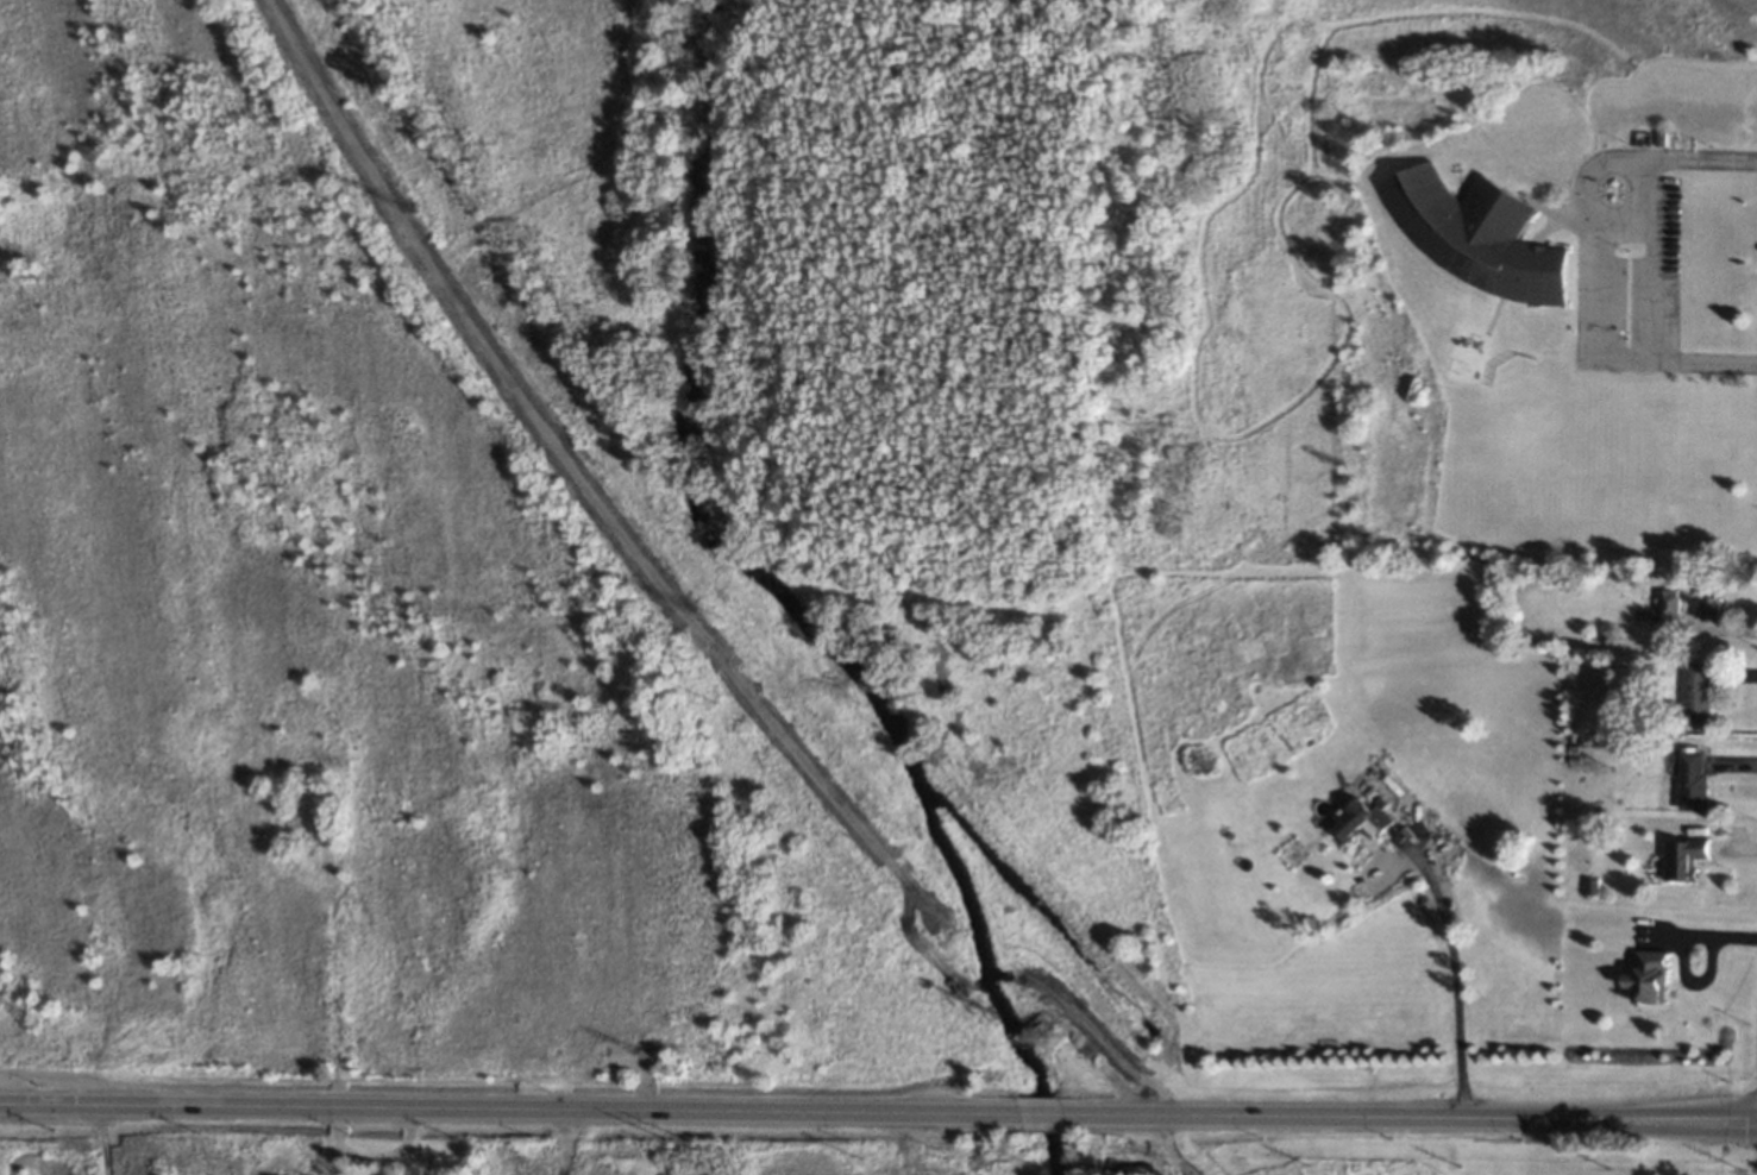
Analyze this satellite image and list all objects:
building: (1659, 139)
building: (1461, 166)
road: (1626, 220)
building: (1476, 234)
road: (1601, 252)
road: (1649, 259)
park: (859, 383)
building: (1668, 602)
river: (785, 605)
building: (1709, 609)
park: (297, 630)
building: (1696, 693)
building: (1606, 709)
building: (1693, 783)
building: (1360, 822)
building: (1684, 857)
road: (1705, 936)
park: (818, 961)
road: (1455, 973)
building: (1649, 976)
road: (507, 1111)
road: (1038, 1113)
road: (1410, 1117)
road: (338, 1142)
road: (571, 1143)
park: (158, 1145)
park: (905, 1150)
road: (388, 1156)

